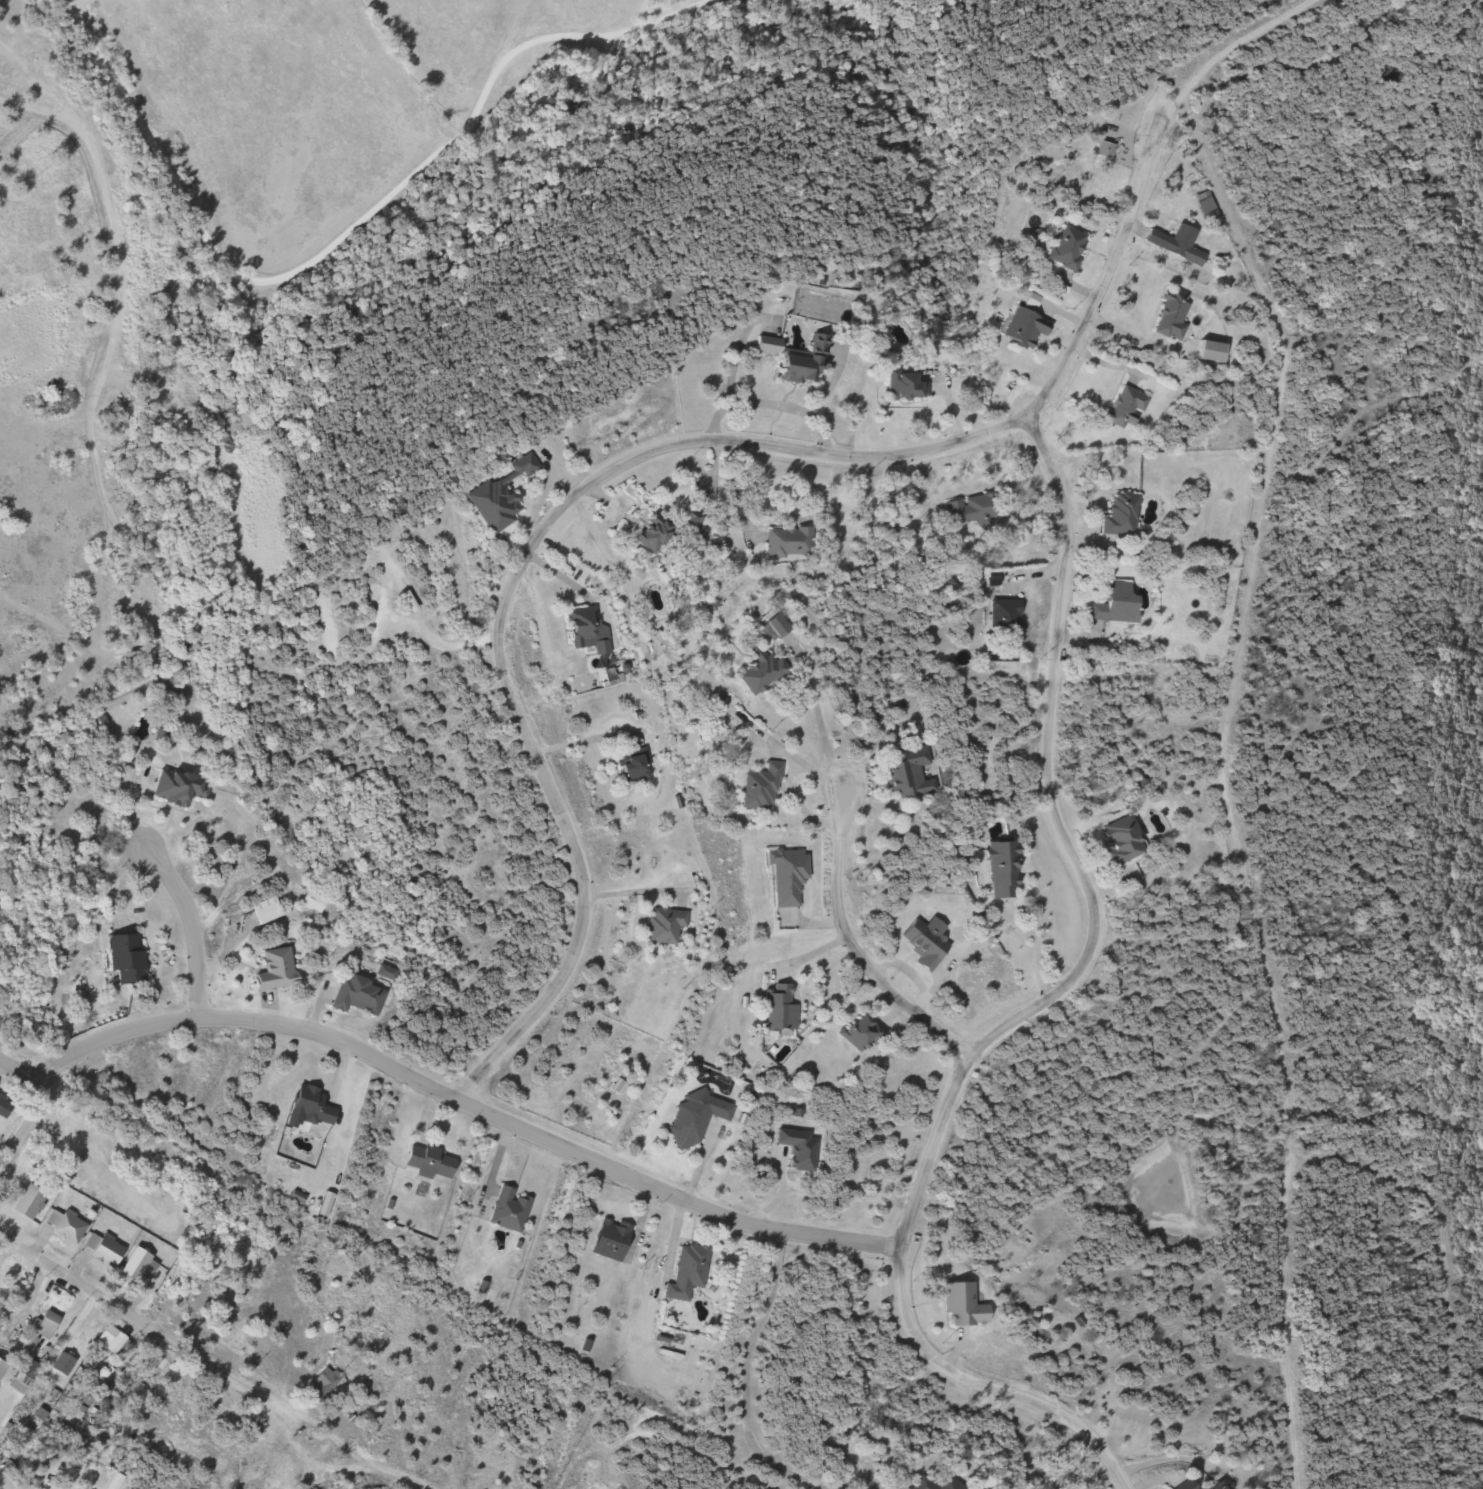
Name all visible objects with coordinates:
road: (1229, 49)
building: (1175, 244)
building: (1065, 248)
building: (1170, 316)
building: (1020, 329)
building: (903, 386)
building: (1124, 407)
road: (625, 465)
building: (496, 496)
building: (971, 509)
building: (1118, 515)
building: (644, 535)
building: (787, 542)
building: (1113, 603)
building: (1003, 617)
building: (579, 625)
road: (436, 639)
building: (760, 674)
building: (904, 774)
road: (1221, 785)
building: (176, 788)
building: (757, 789)
building: (1119, 841)
road: (1076, 865)
building: (1001, 870)
building: (785, 876)
road: (632, 881)
building: (263, 911)
building: (664, 926)
road: (190, 930)
road: (848, 940)
building: (922, 945)
building: (123, 958)
building: (271, 970)
building: (356, 996)
building: (778, 1012)
building: (858, 1034)
road: (22, 1075)
road: (467, 1102)
building: (308, 1105)
building: (4, 1109)
building: (693, 1118)
road: (22, 1128)
building: (796, 1149)
building: (428, 1161)
building: (26, 1203)
building: (507, 1210)
building: (63, 1227)
building: (607, 1240)
building: (136, 1266)
building: (686, 1272)
building: (959, 1304)
building: (42, 1324)
road: (143, 1324)
building: (11, 1331)
building: (107, 1339)
building: (228, 1340)
building: (27, 1343)
building: (1, 1368)
road: (743, 1373)
road: (983, 1390)
building: (17, 1444)
building: (945, 1483)
building: (920, 1486)
building: (1181, 1486)
building: (87, 1487)

